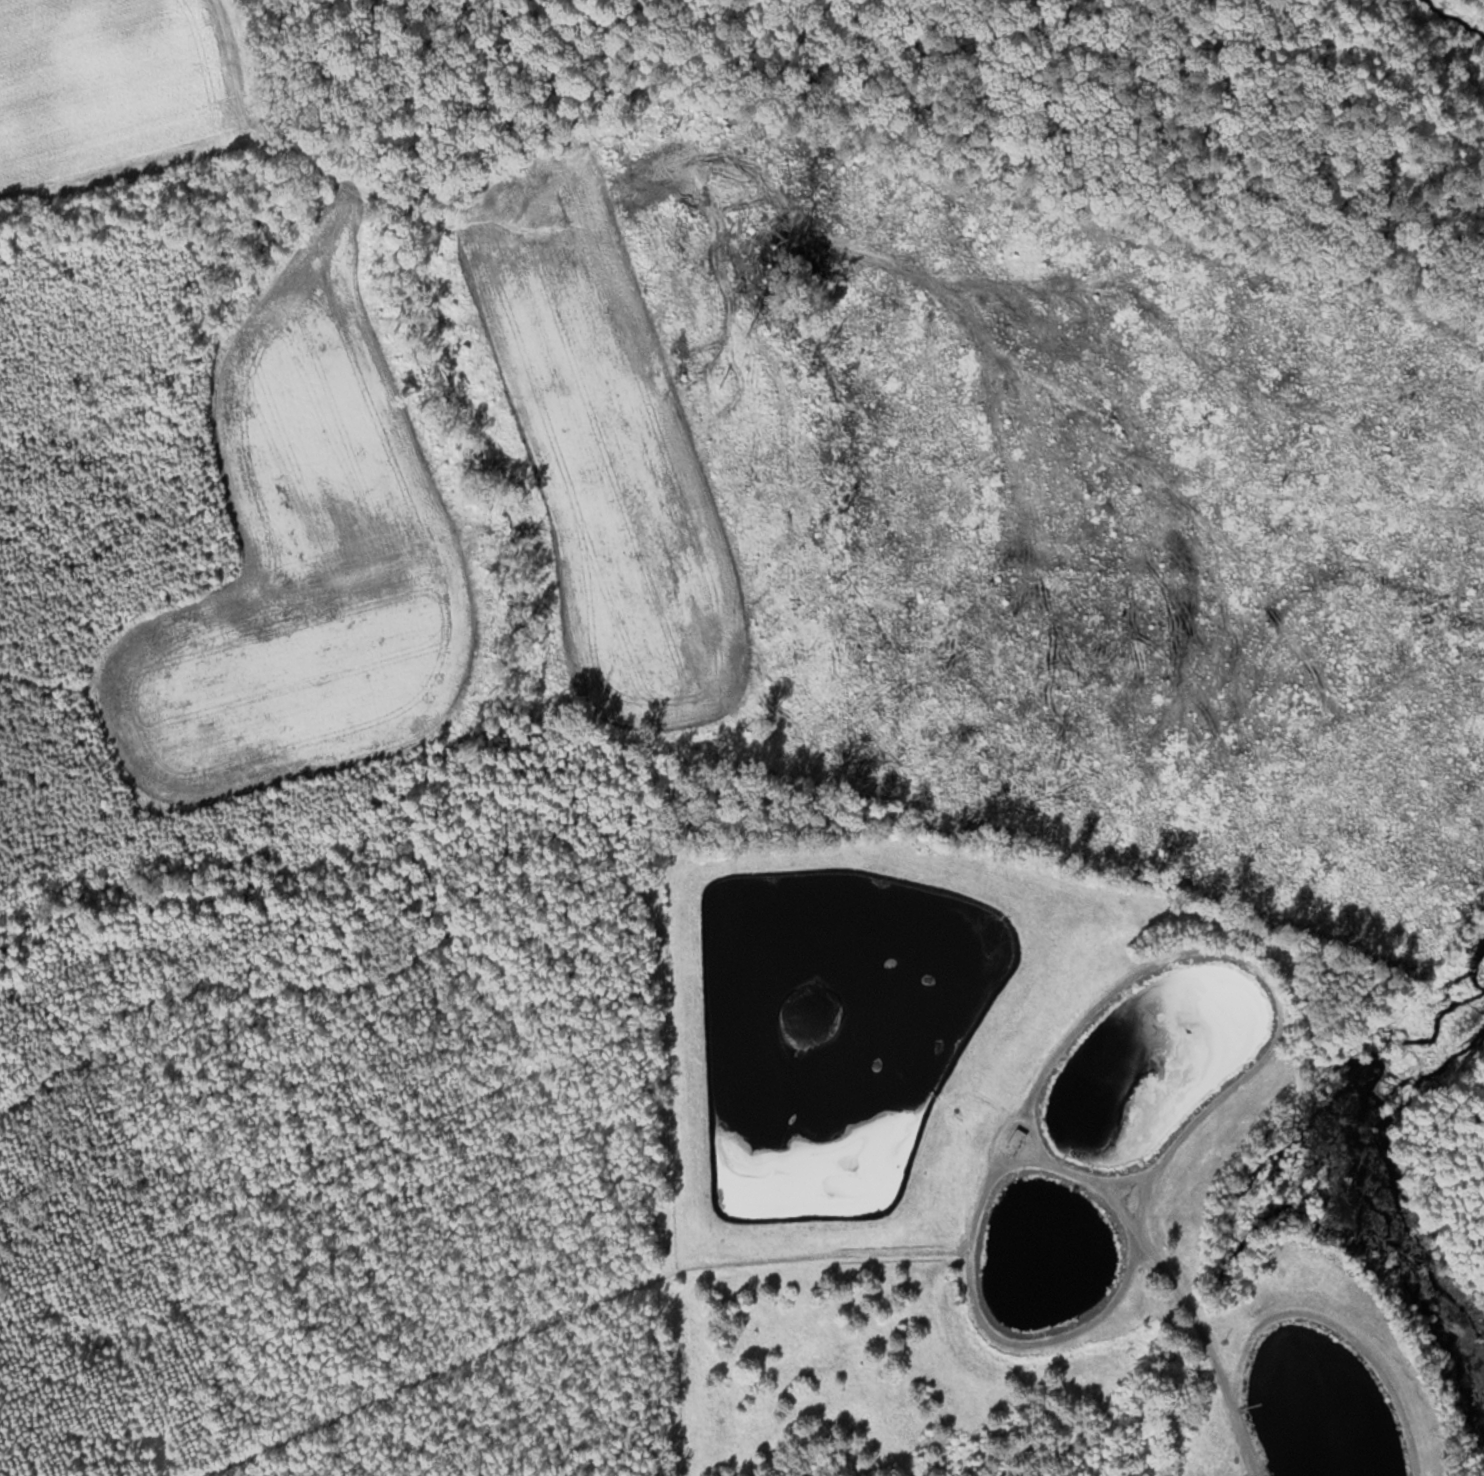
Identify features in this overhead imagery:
building: (1016, 1141)
road: (437, 1363)

